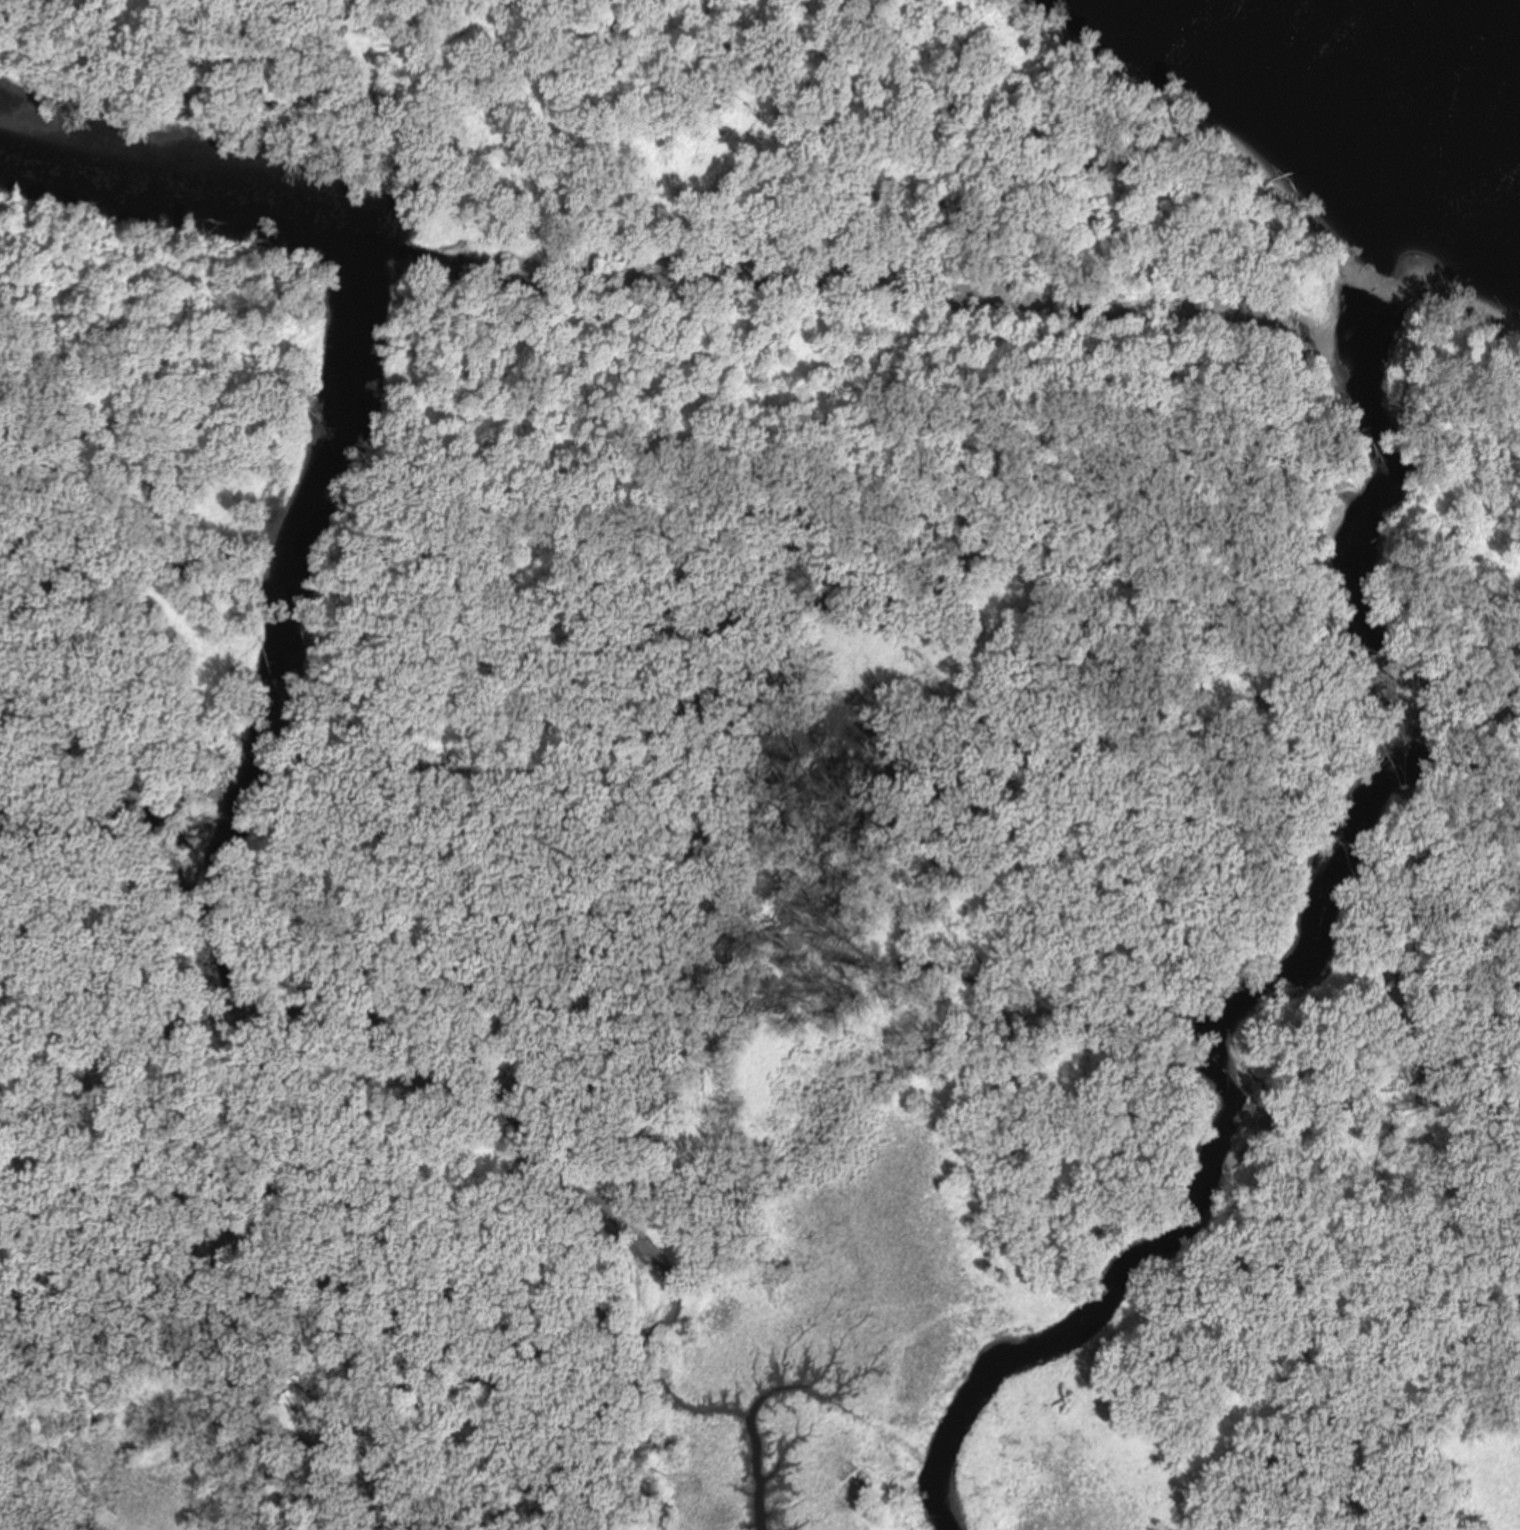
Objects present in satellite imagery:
river: (192, 201)

